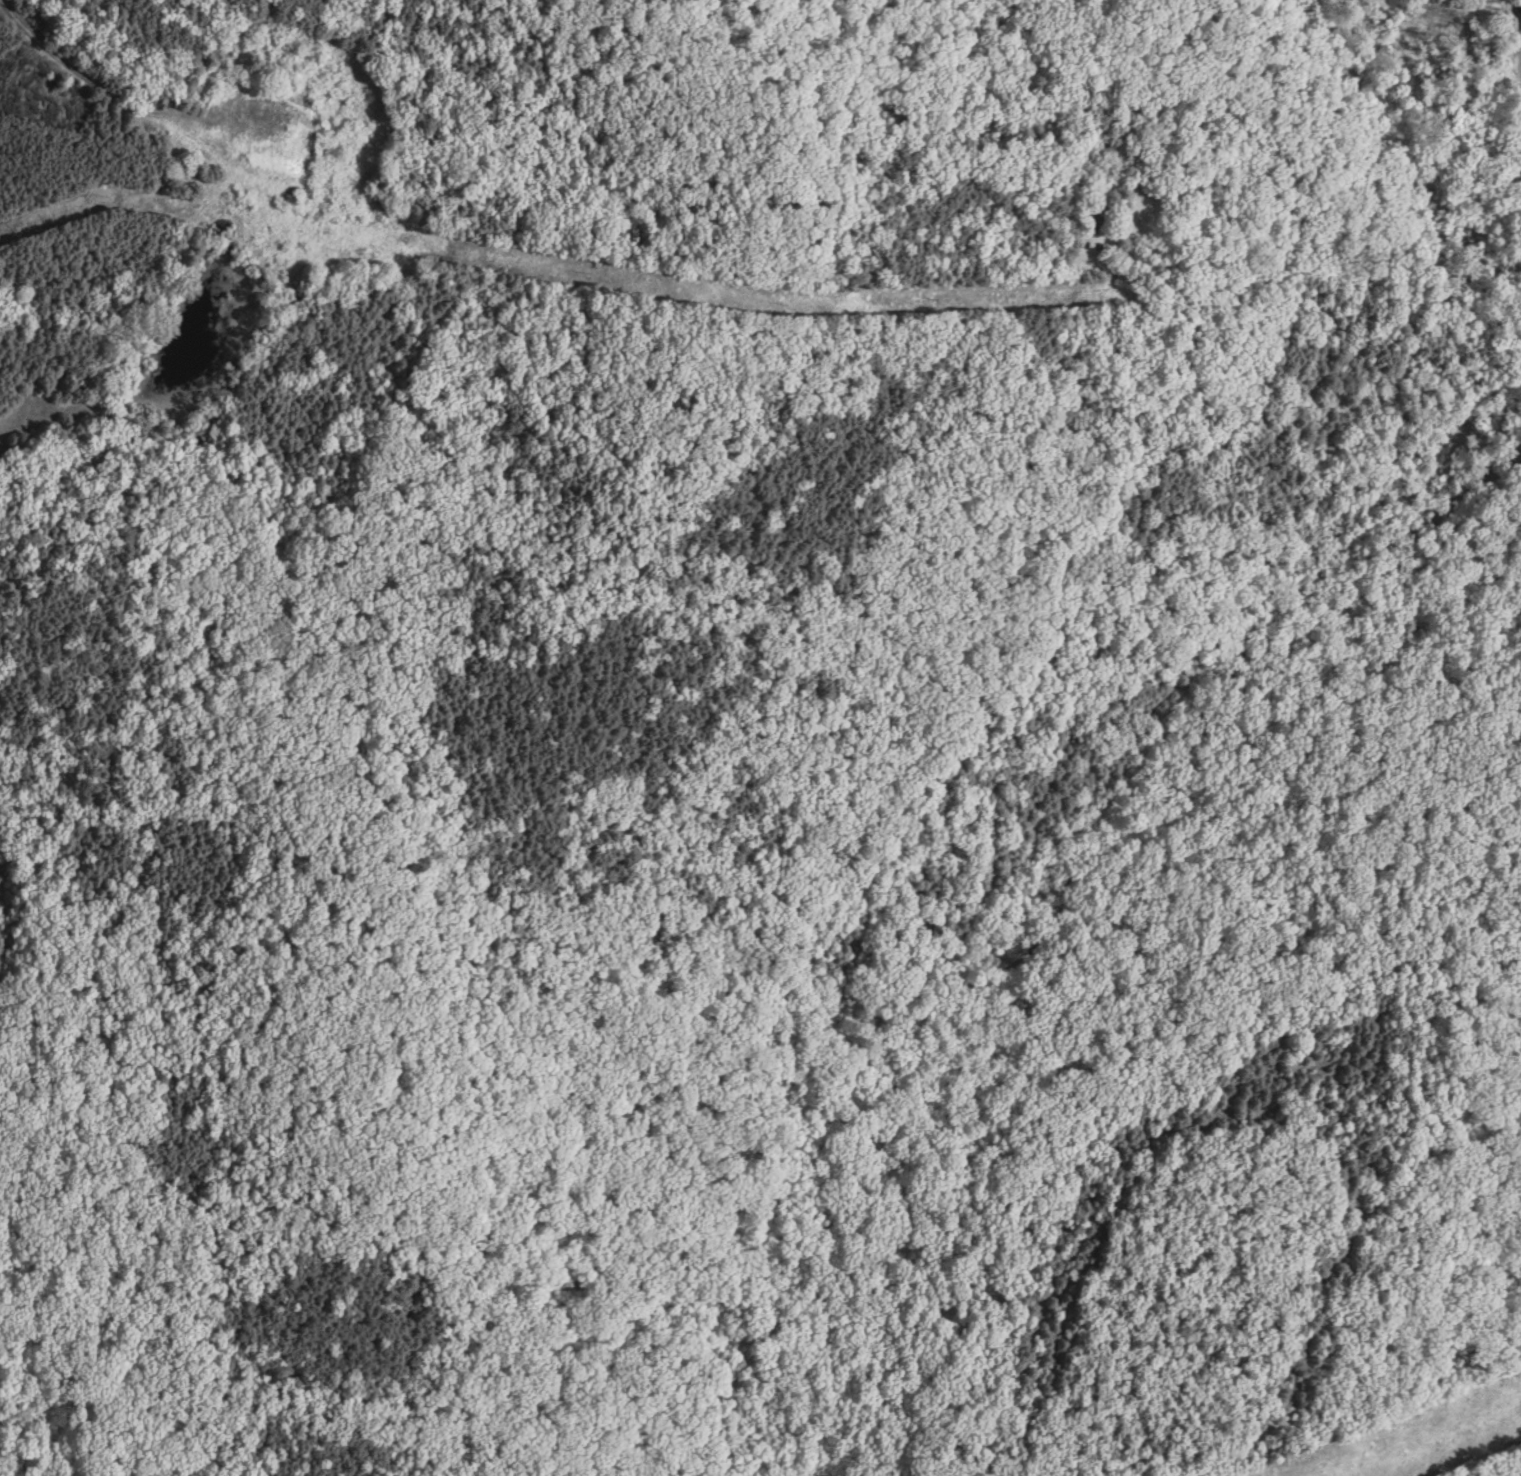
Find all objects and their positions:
road: (515, 260)

